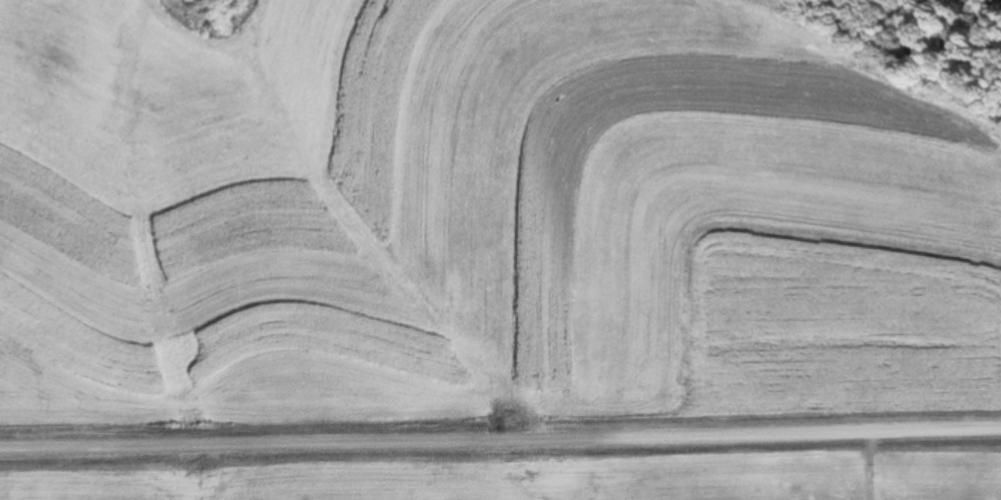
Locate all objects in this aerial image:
road: (500, 469)

